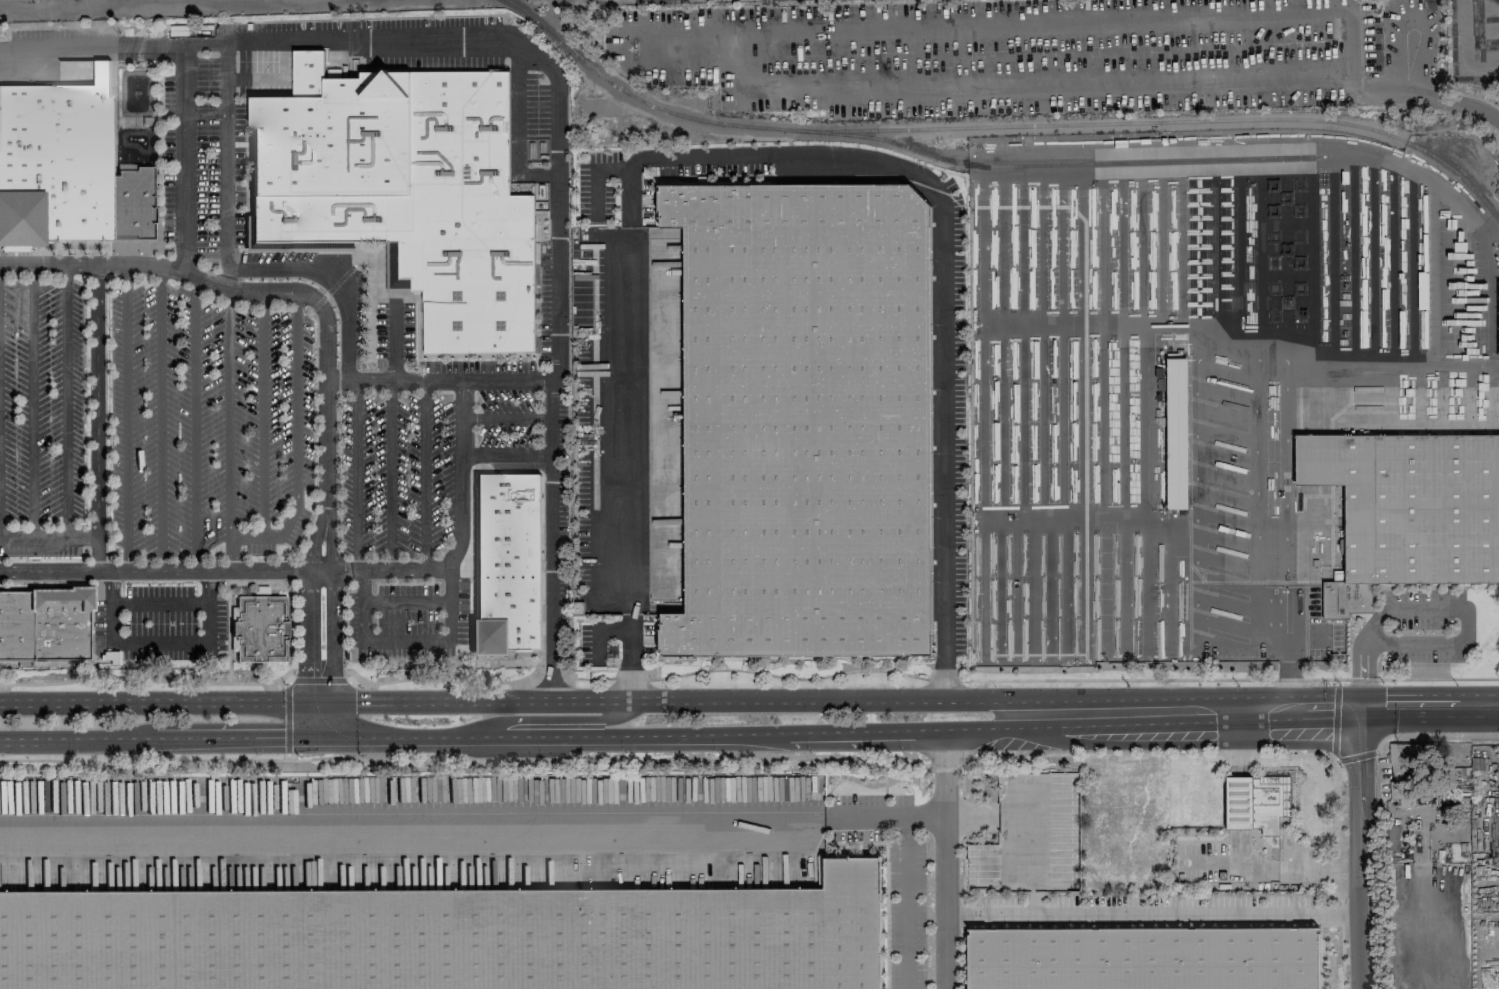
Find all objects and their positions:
railway: (1497, 0)
road: (668, 35)
road: (290, 41)
road: (1429, 91)
road: (518, 125)
railway: (1000, 126)
road: (187, 158)
road: (774, 158)
road: (228, 164)
railway: (1053, 164)
building: (66, 166)
building: (402, 192)
road: (328, 279)
road: (396, 340)
building: (1498, 350)
road: (326, 357)
road: (441, 379)
road: (557, 393)
road: (32, 402)
road: (66, 402)
road: (228, 411)
road: (262, 413)
road: (295, 416)
road: (508, 417)
road: (96, 418)
road: (125, 419)
building: (803, 419)
parking lot: (150, 420)
road: (160, 420)
road: (195, 424)
building: (1176, 433)
road: (508, 452)
parking lot: (418, 461)
road: (356, 475)
road: (390, 475)
road: (424, 475)
road: (460, 476)
building: (1395, 508)
road: (236, 537)
road: (48, 540)
building: (508, 563)
road: (226, 573)
road: (314, 593)
road: (159, 602)
parking lot: (408, 618)
parking lot: (174, 620)
building: (44, 623)
building: (258, 630)
road: (158, 641)
road: (1453, 641)
road: (407, 643)
road: (1289, 649)
road: (619, 699)
road: (1394, 703)
traffic signals: (1358, 704)
traffic signals: (327, 705)
road: (1265, 708)
road: (551, 720)
road: (619, 734)
traffic signals: (328, 737)
road: (1239, 742)
road: (1204, 747)
building: (1403, 756)
building: (1256, 802)
road: (470, 824)
building: (1392, 838)
road: (1357, 846)
road: (941, 859)
road: (1235, 863)
road: (1318, 870)
road: (905, 903)
road: (1148, 913)
building: (451, 938)
building: (1144, 958)

